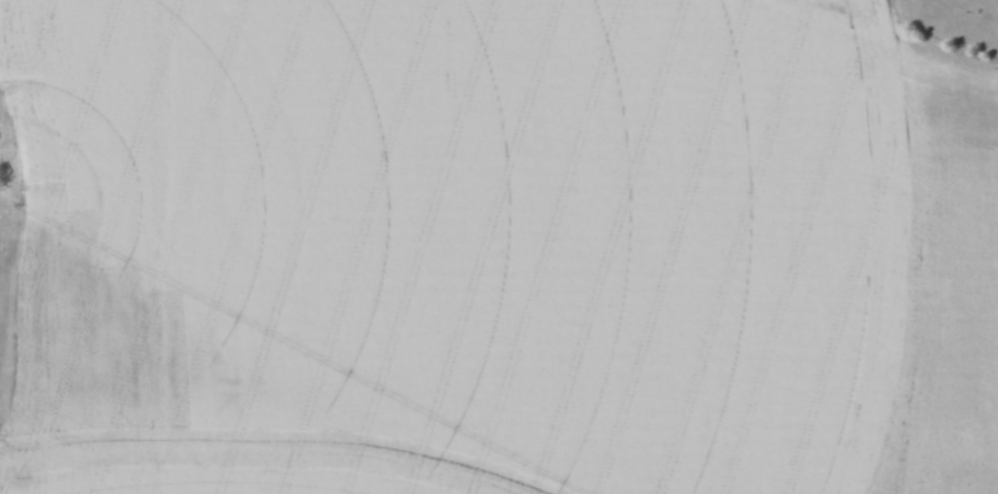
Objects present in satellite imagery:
crop: (963, 286)

